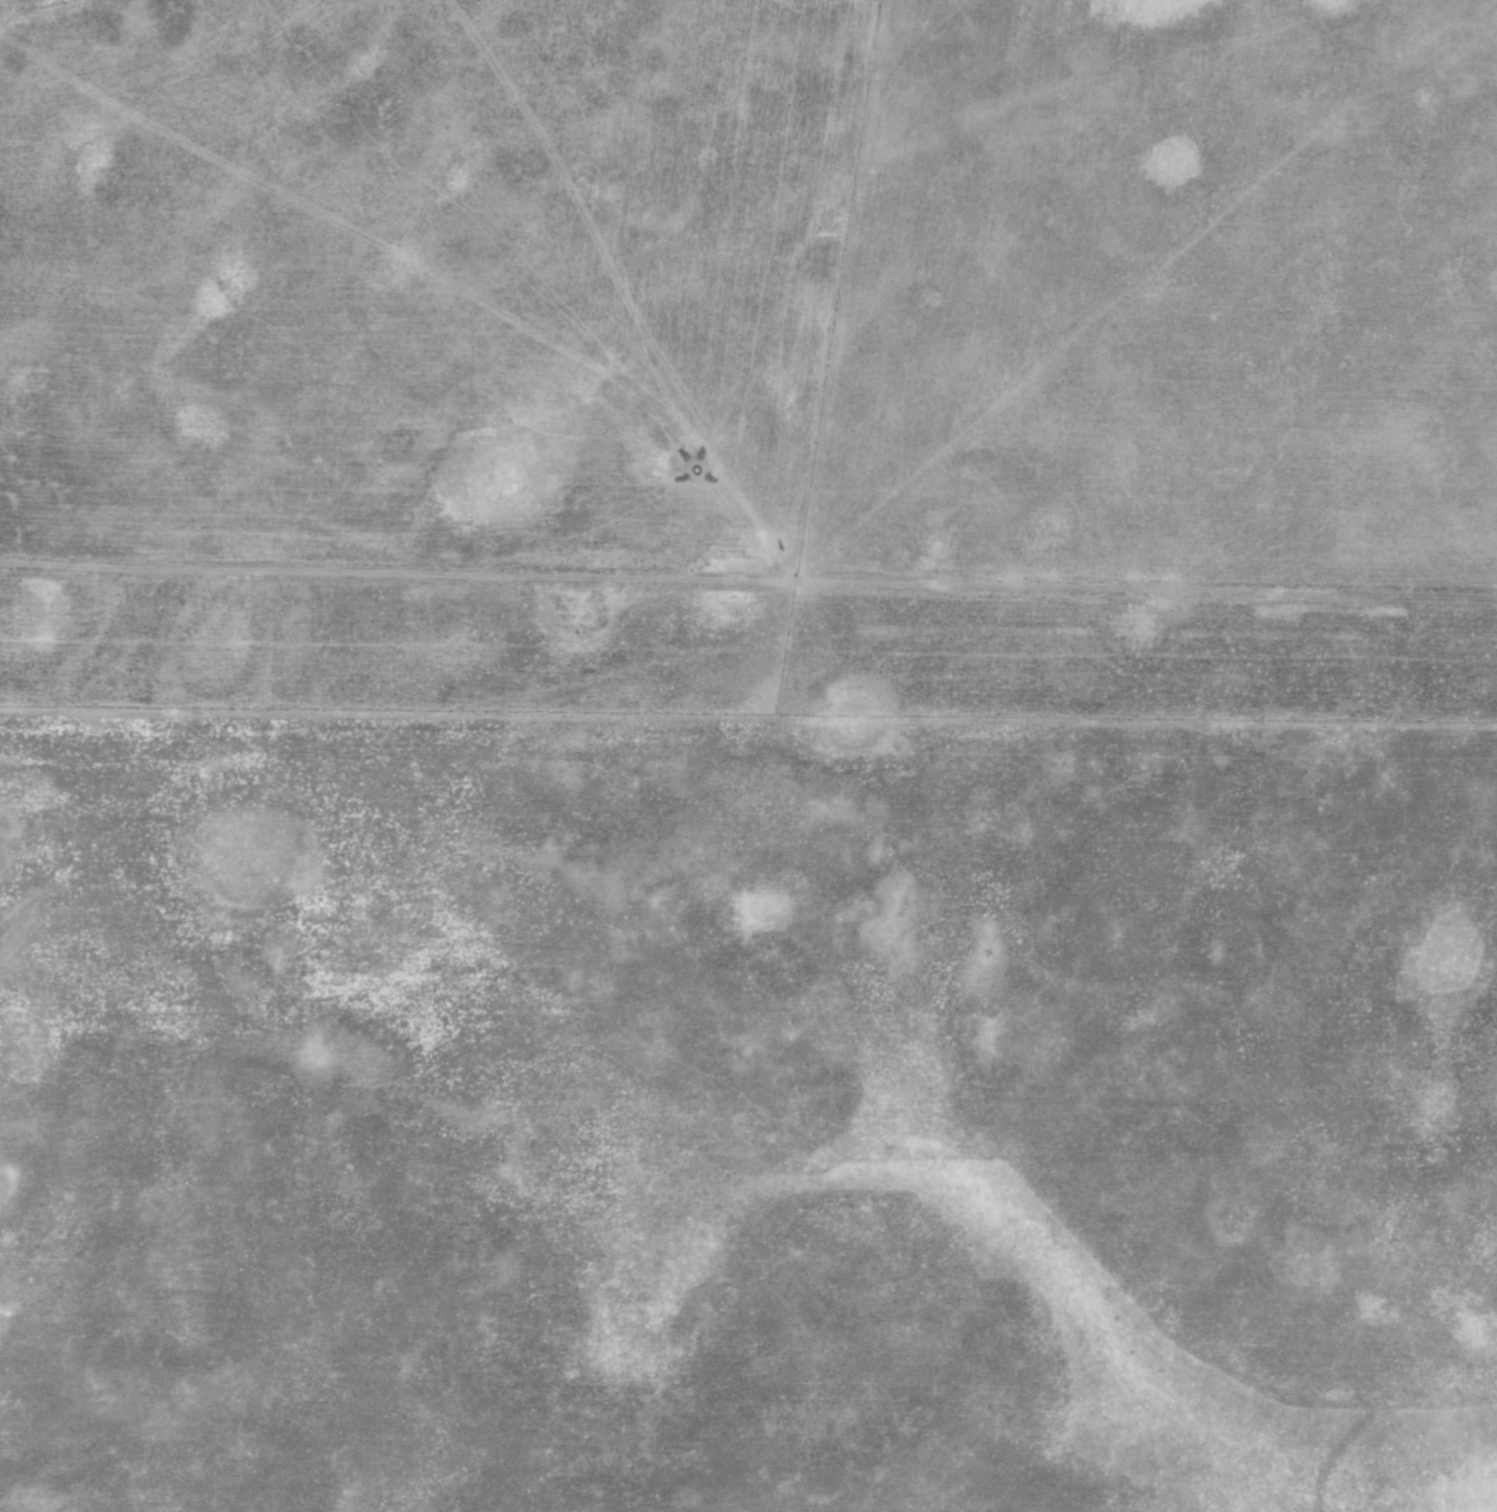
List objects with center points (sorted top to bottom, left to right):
road: (748, 641)

